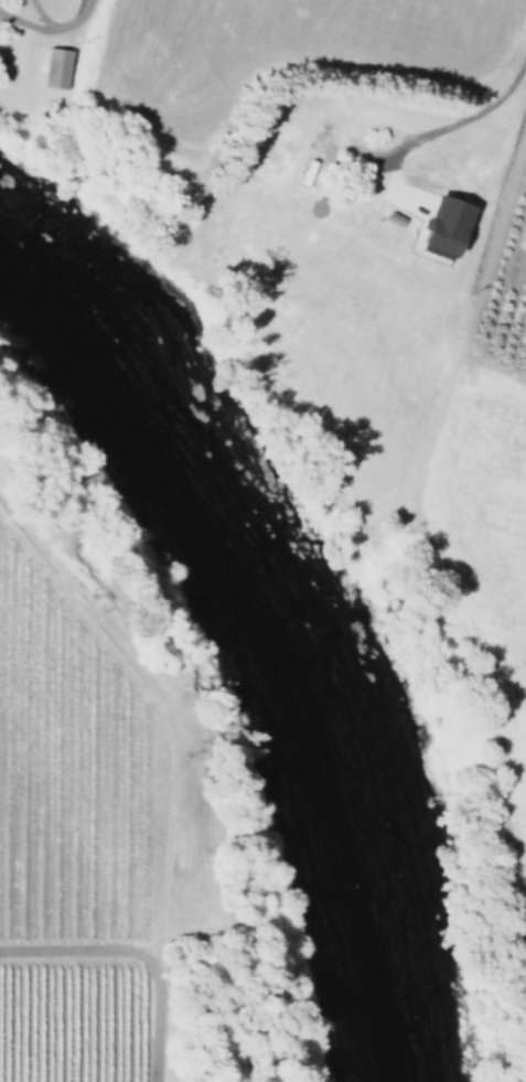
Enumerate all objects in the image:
building: (53, 68)
building: (443, 223)
building: (428, 253)
river: (285, 629)
road: (160, 715)
road: (133, 955)

